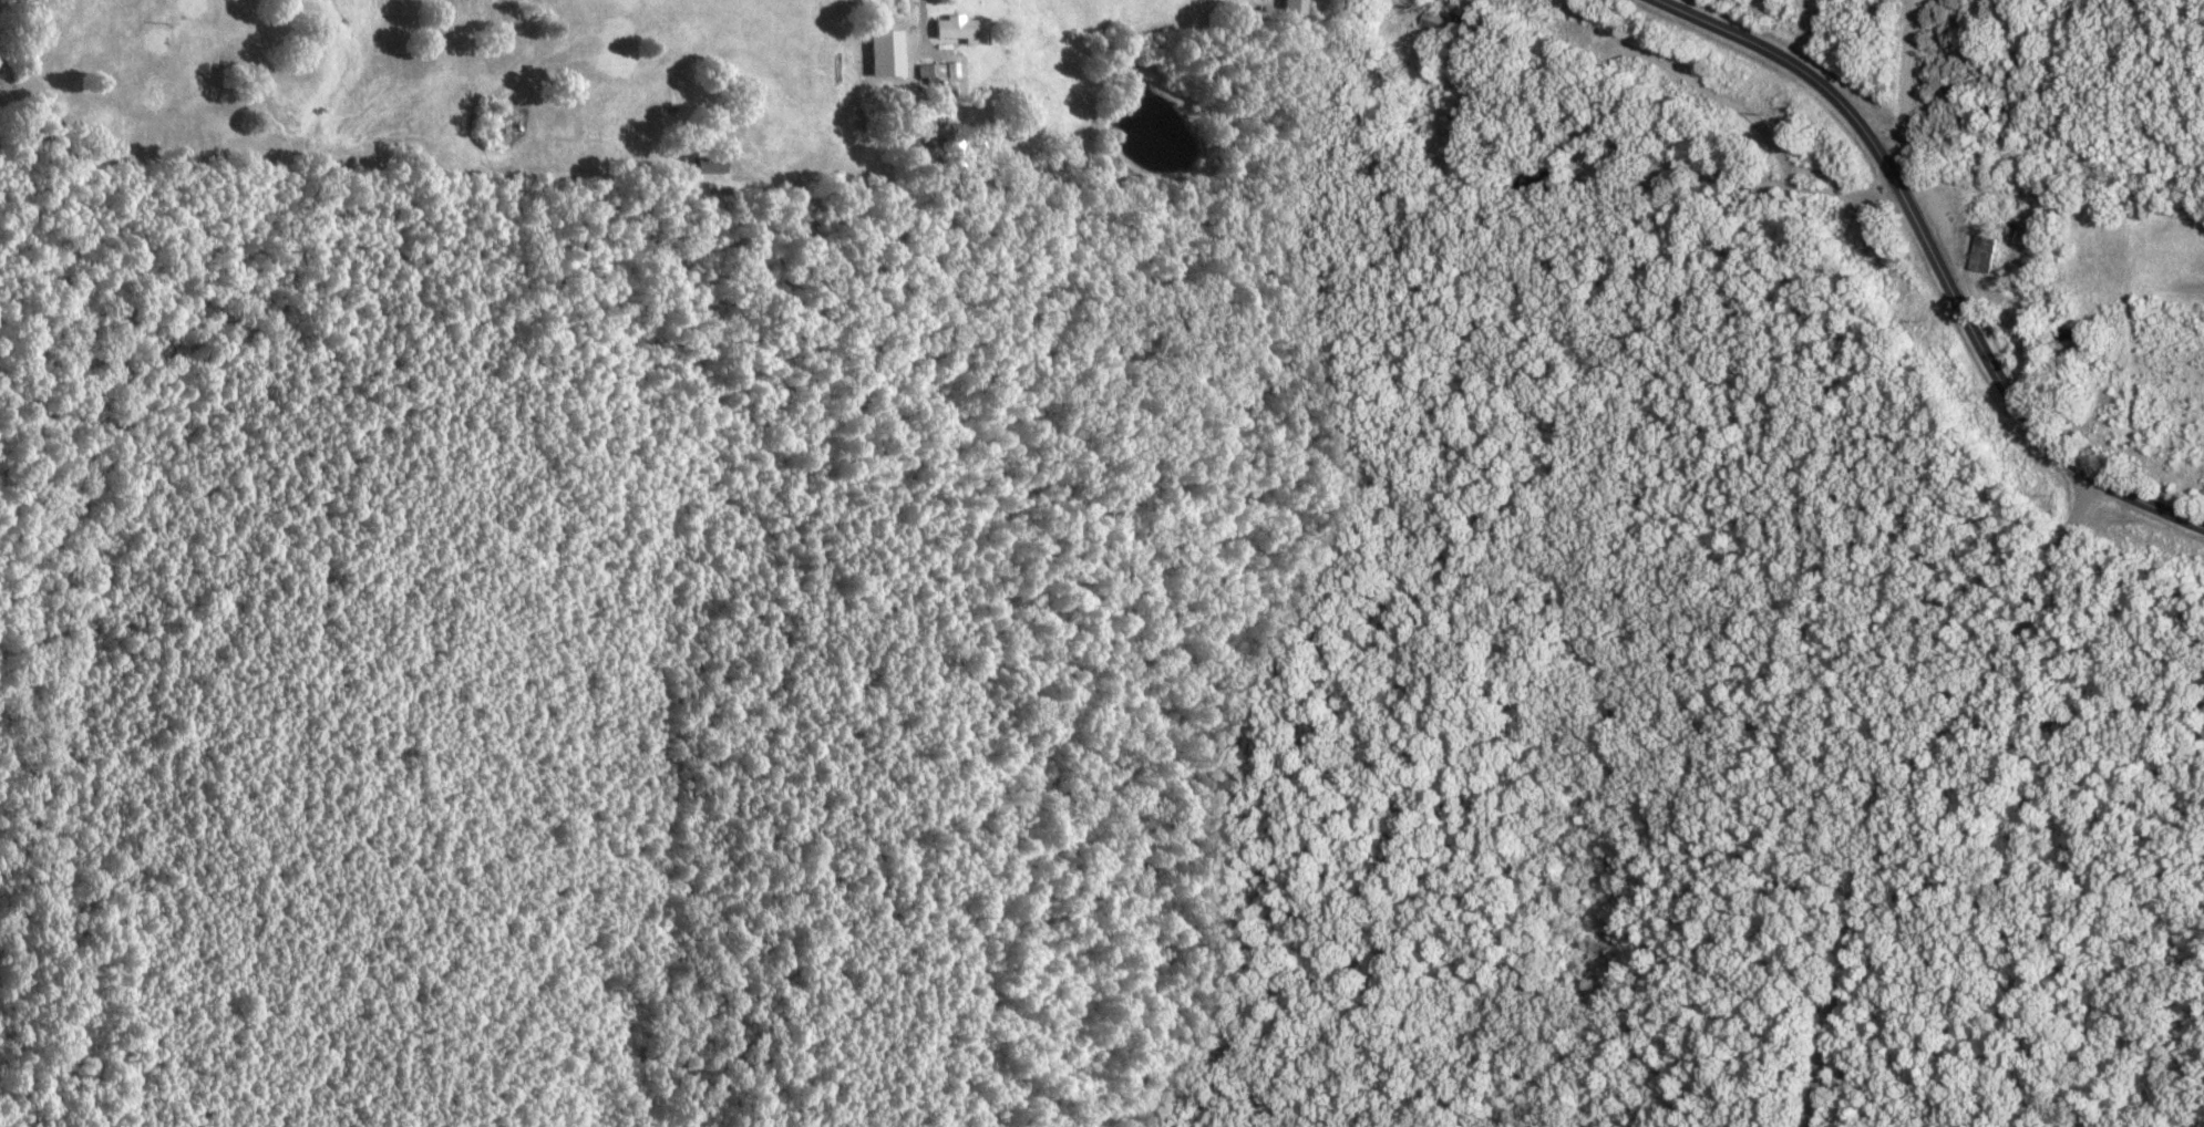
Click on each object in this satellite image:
building: (1435, 0)
road: (1906, 1)
building: (1285, 11)
building: (949, 32)
building: (925, 75)
road: (1891, 87)
building: (703, 167)
building: (1976, 256)
road: (1927, 261)

